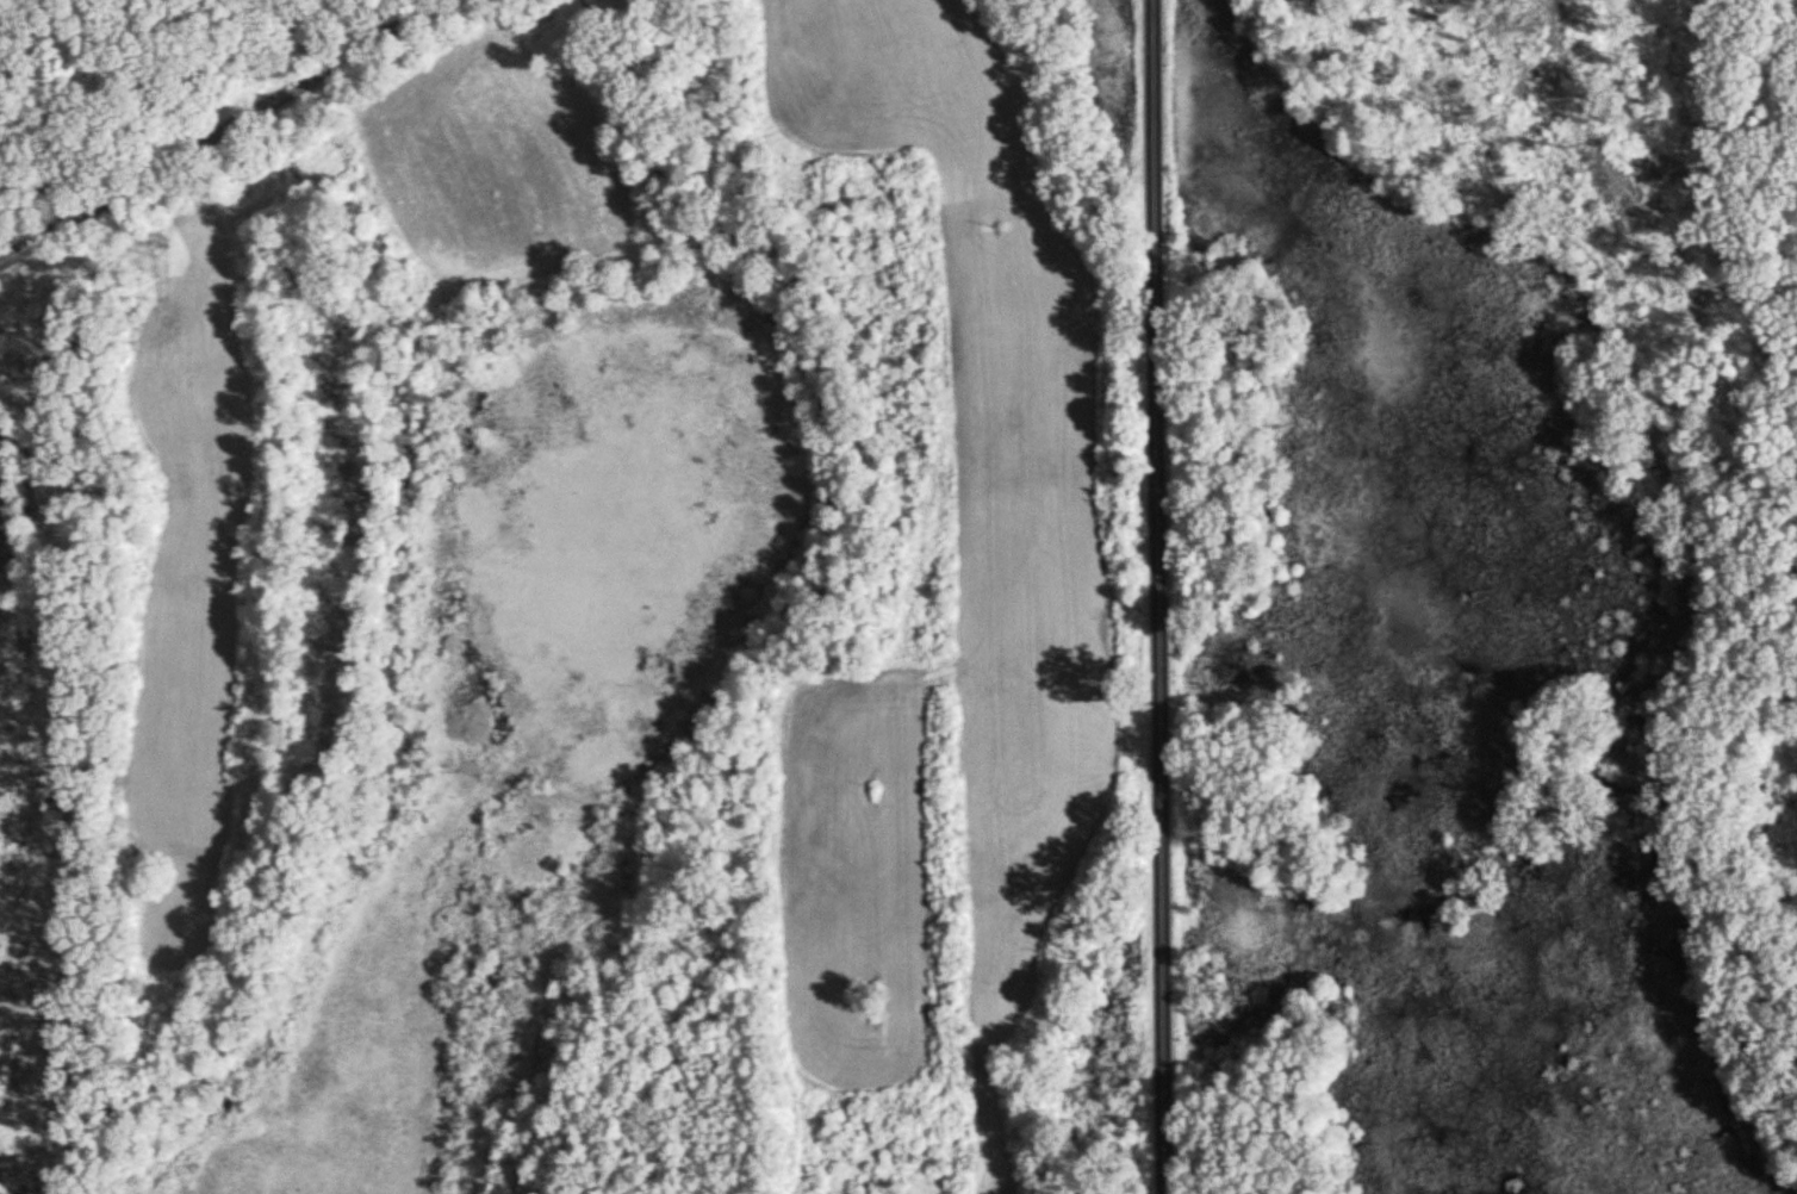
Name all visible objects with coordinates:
road: (224, 135)
road: (1157, 597)

